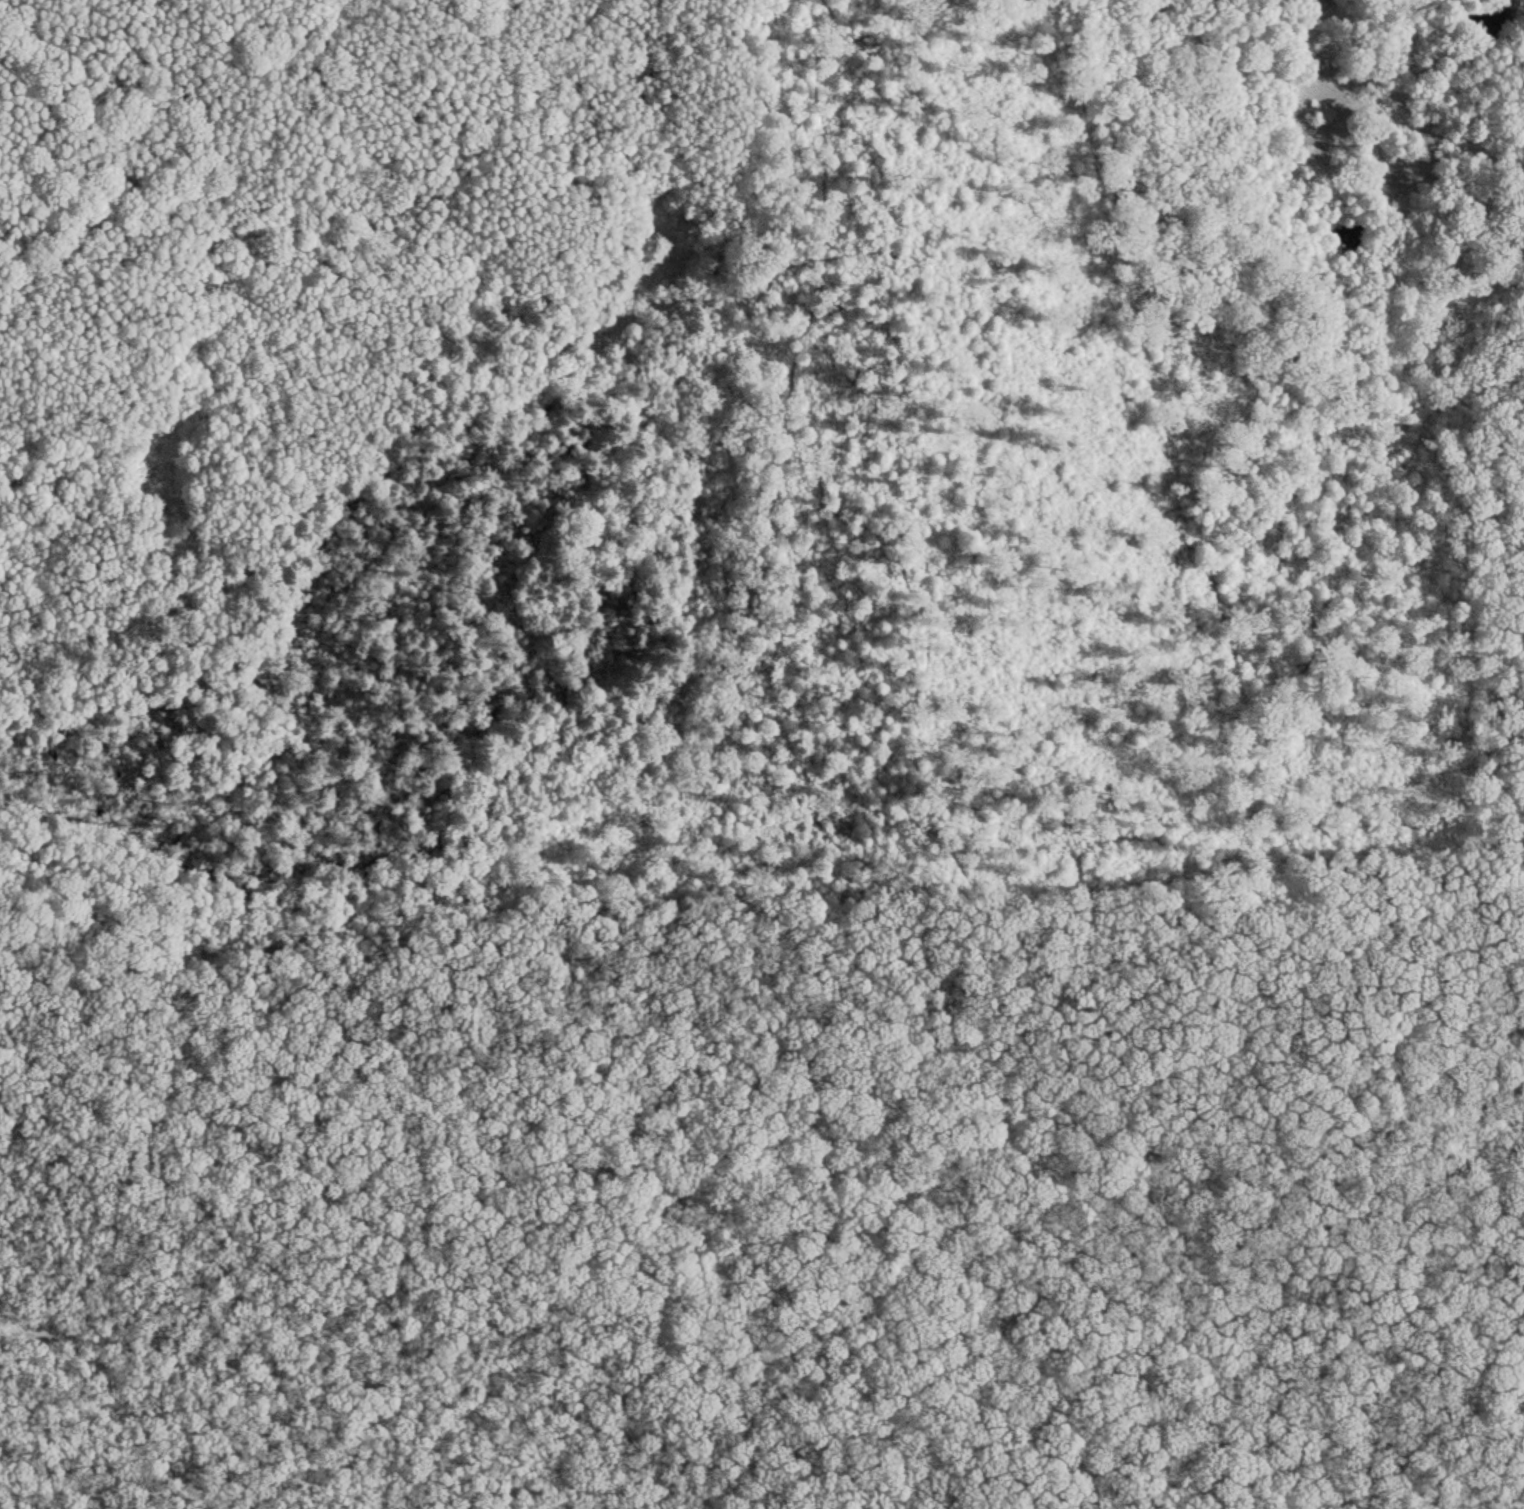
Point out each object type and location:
road: (1313, 87)
road: (989, 924)
road: (289, 1368)

